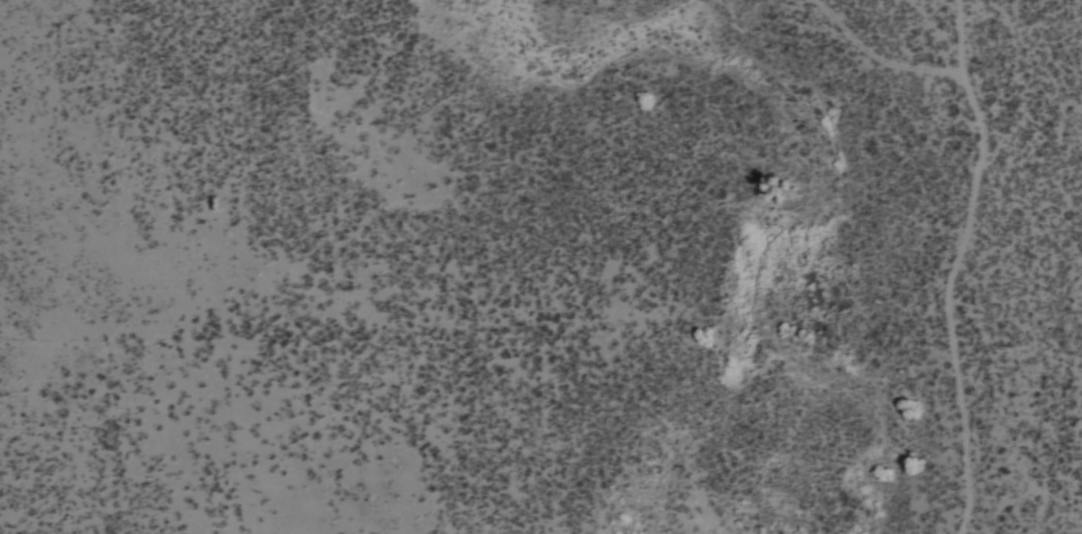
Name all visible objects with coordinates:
road: (887, 55)
road: (964, 264)

